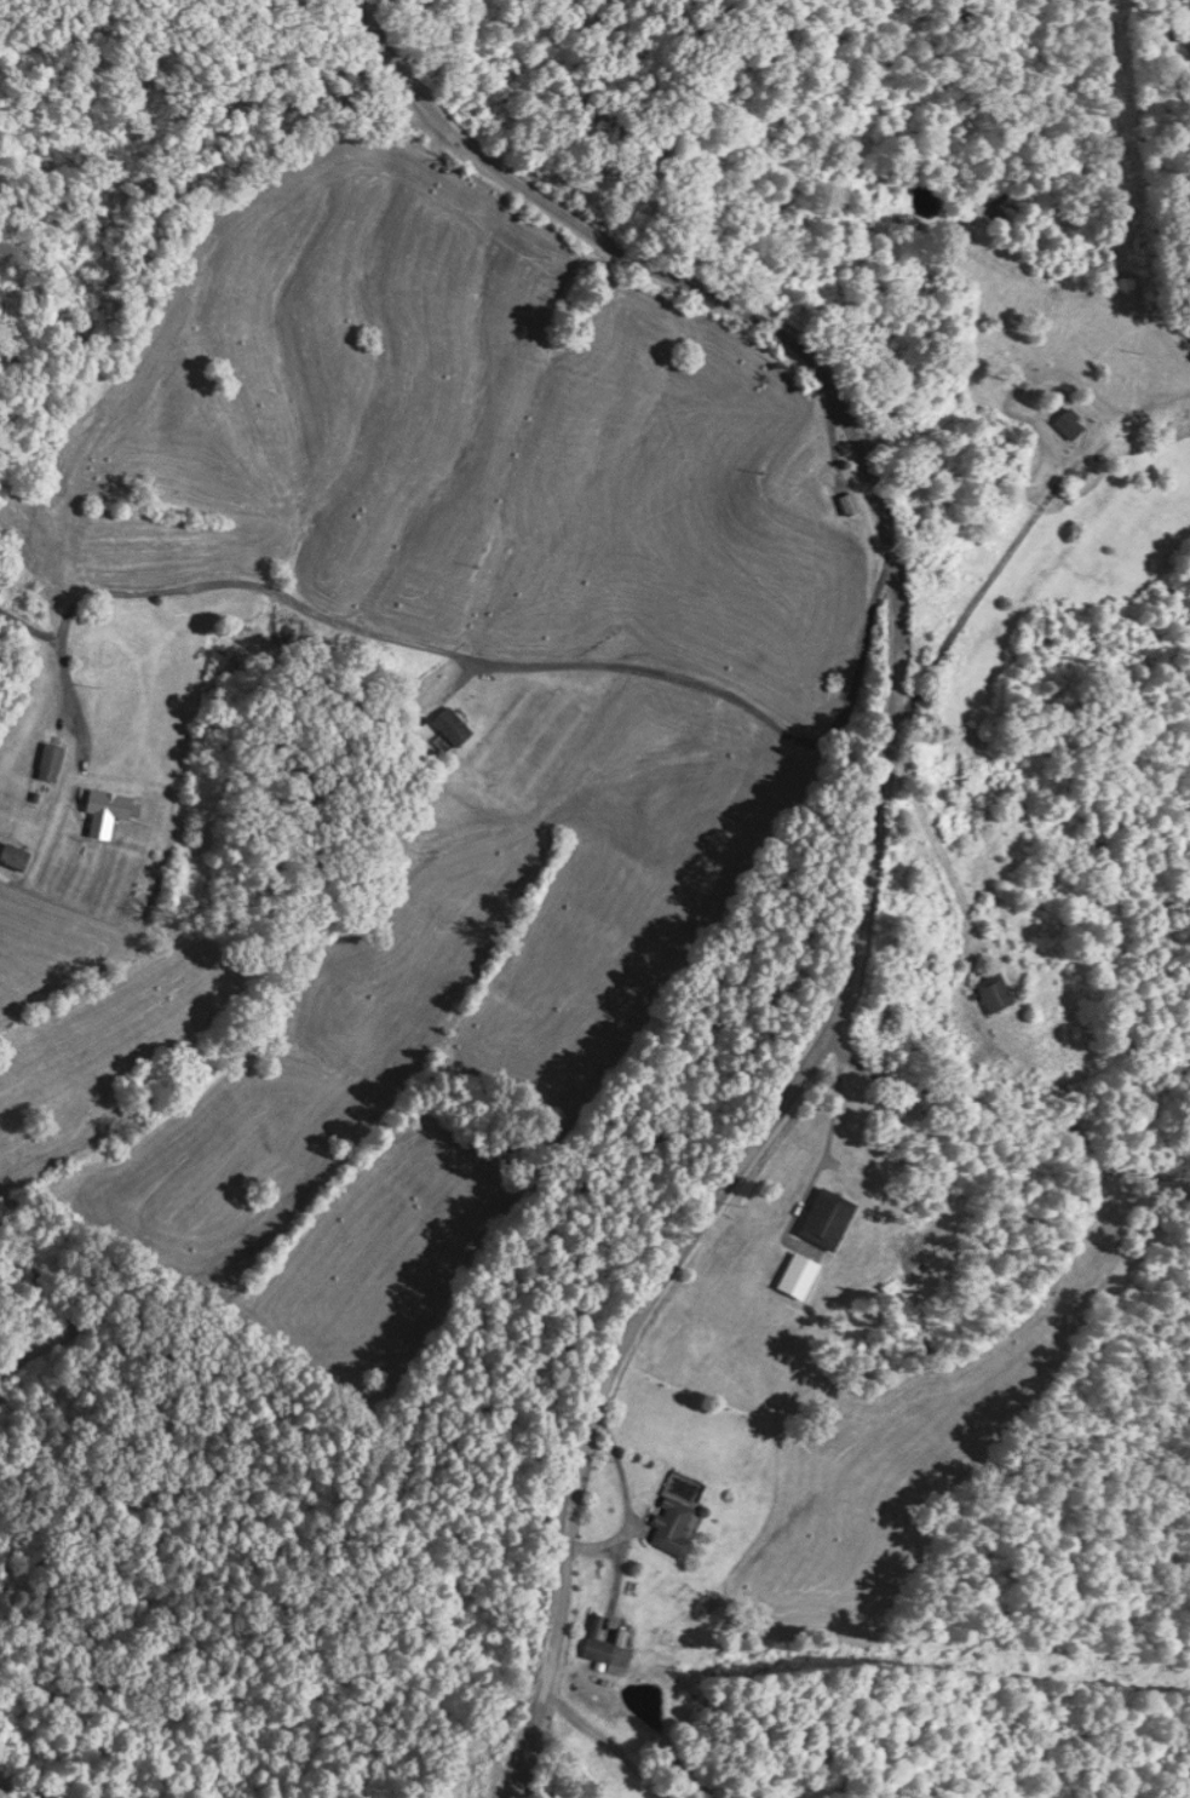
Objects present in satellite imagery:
road: (465, 139)
building: (1071, 423)
building: (852, 502)
road: (897, 573)
road: (407, 642)
building: (452, 724)
building: (50, 759)
building: (108, 808)
building: (996, 989)
road: (742, 1173)
building: (828, 1216)
road: (611, 1392)
building: (676, 1512)
building: (608, 1650)
road: (592, 1748)

